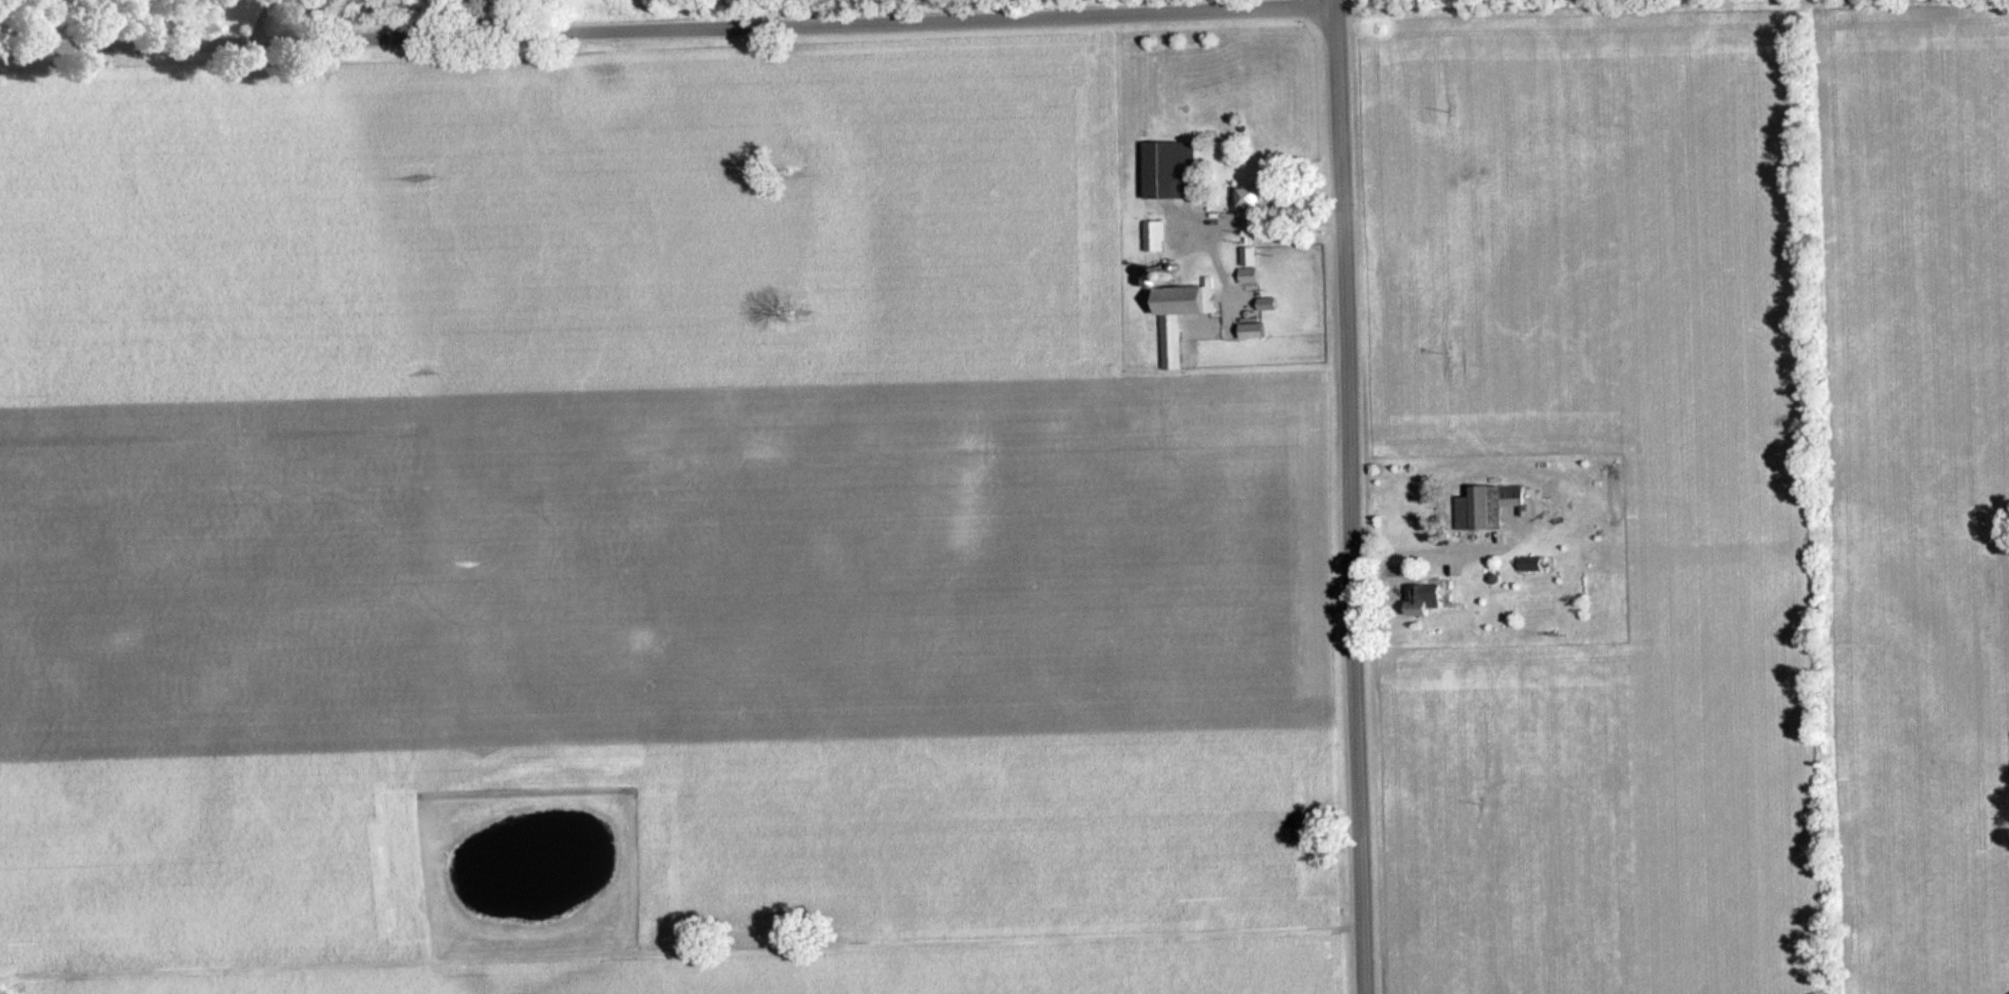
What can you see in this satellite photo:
road: (667, 25)
building: (1173, 169)
building: (1252, 198)
building: (1251, 264)
building: (1173, 342)
road: (1348, 497)
building: (1486, 507)
building: (1531, 563)
building: (1428, 595)

